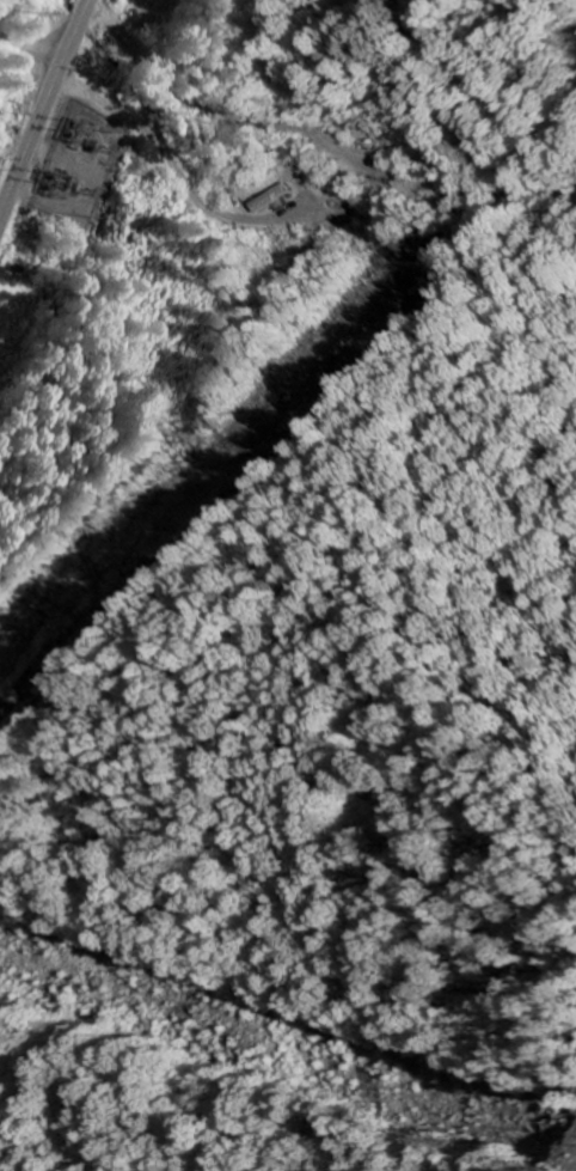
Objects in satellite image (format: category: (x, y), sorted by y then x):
road: (33, 43)
road: (45, 108)
power substation: (79, 160)
building: (268, 200)

